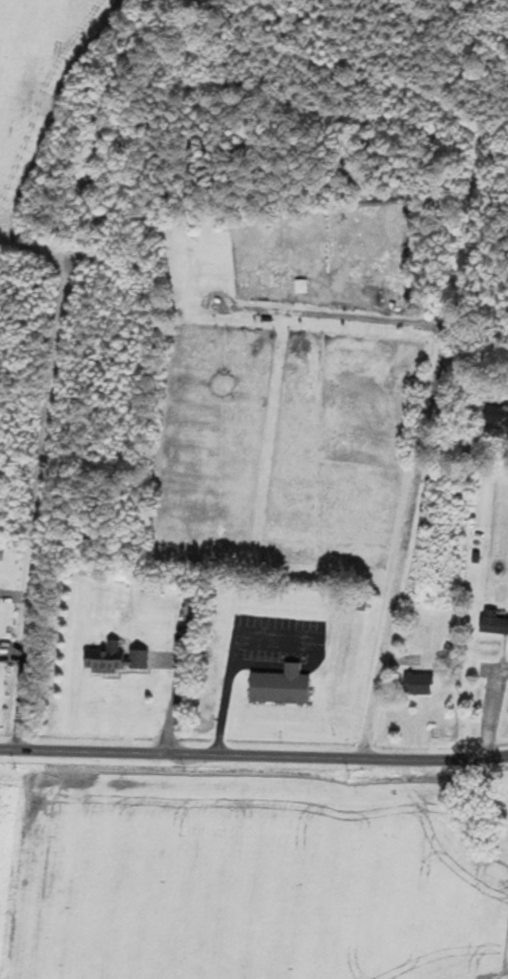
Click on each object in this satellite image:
building: (456, 353)
building: (496, 416)
road: (43, 503)
road: (399, 581)
building: (492, 623)
road: (277, 636)
road: (234, 647)
road: (315, 659)
building: (110, 660)
road: (291, 667)
road: (227, 682)
building: (280, 684)
building: (417, 684)
road: (254, 755)

